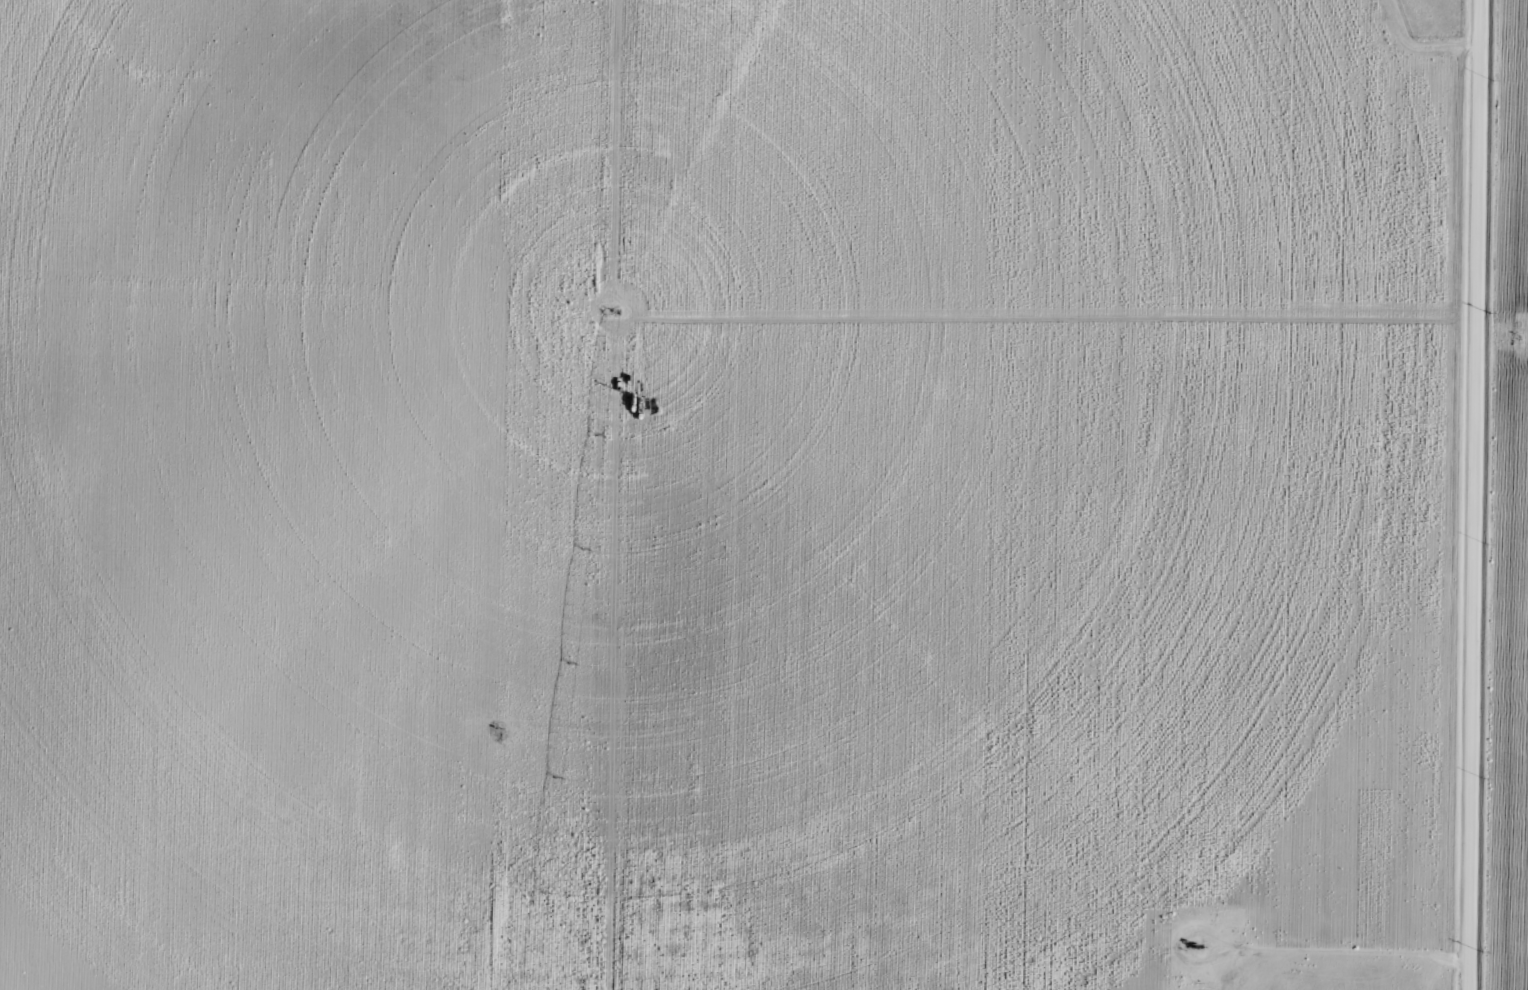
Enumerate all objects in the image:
road: (1465, 495)
petroleum well: (1196, 944)

